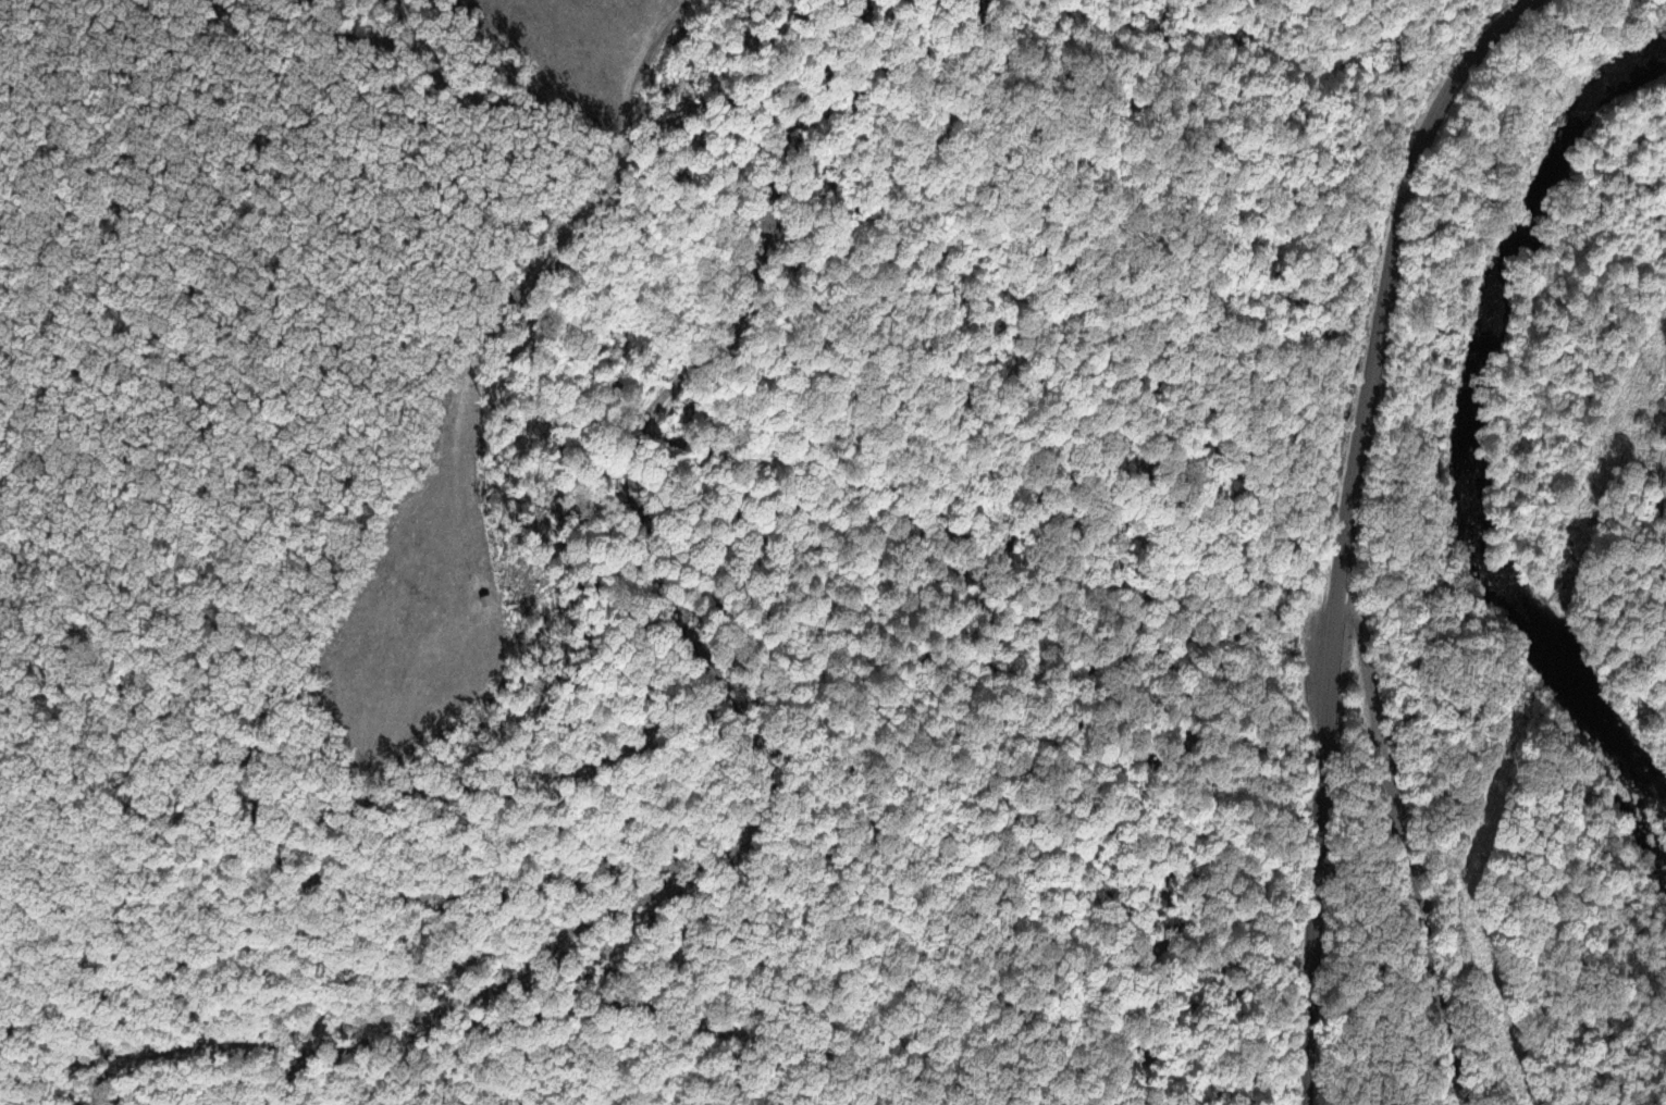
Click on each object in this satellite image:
road: (1664, 525)
road: (1349, 533)
road: (1420, 842)

